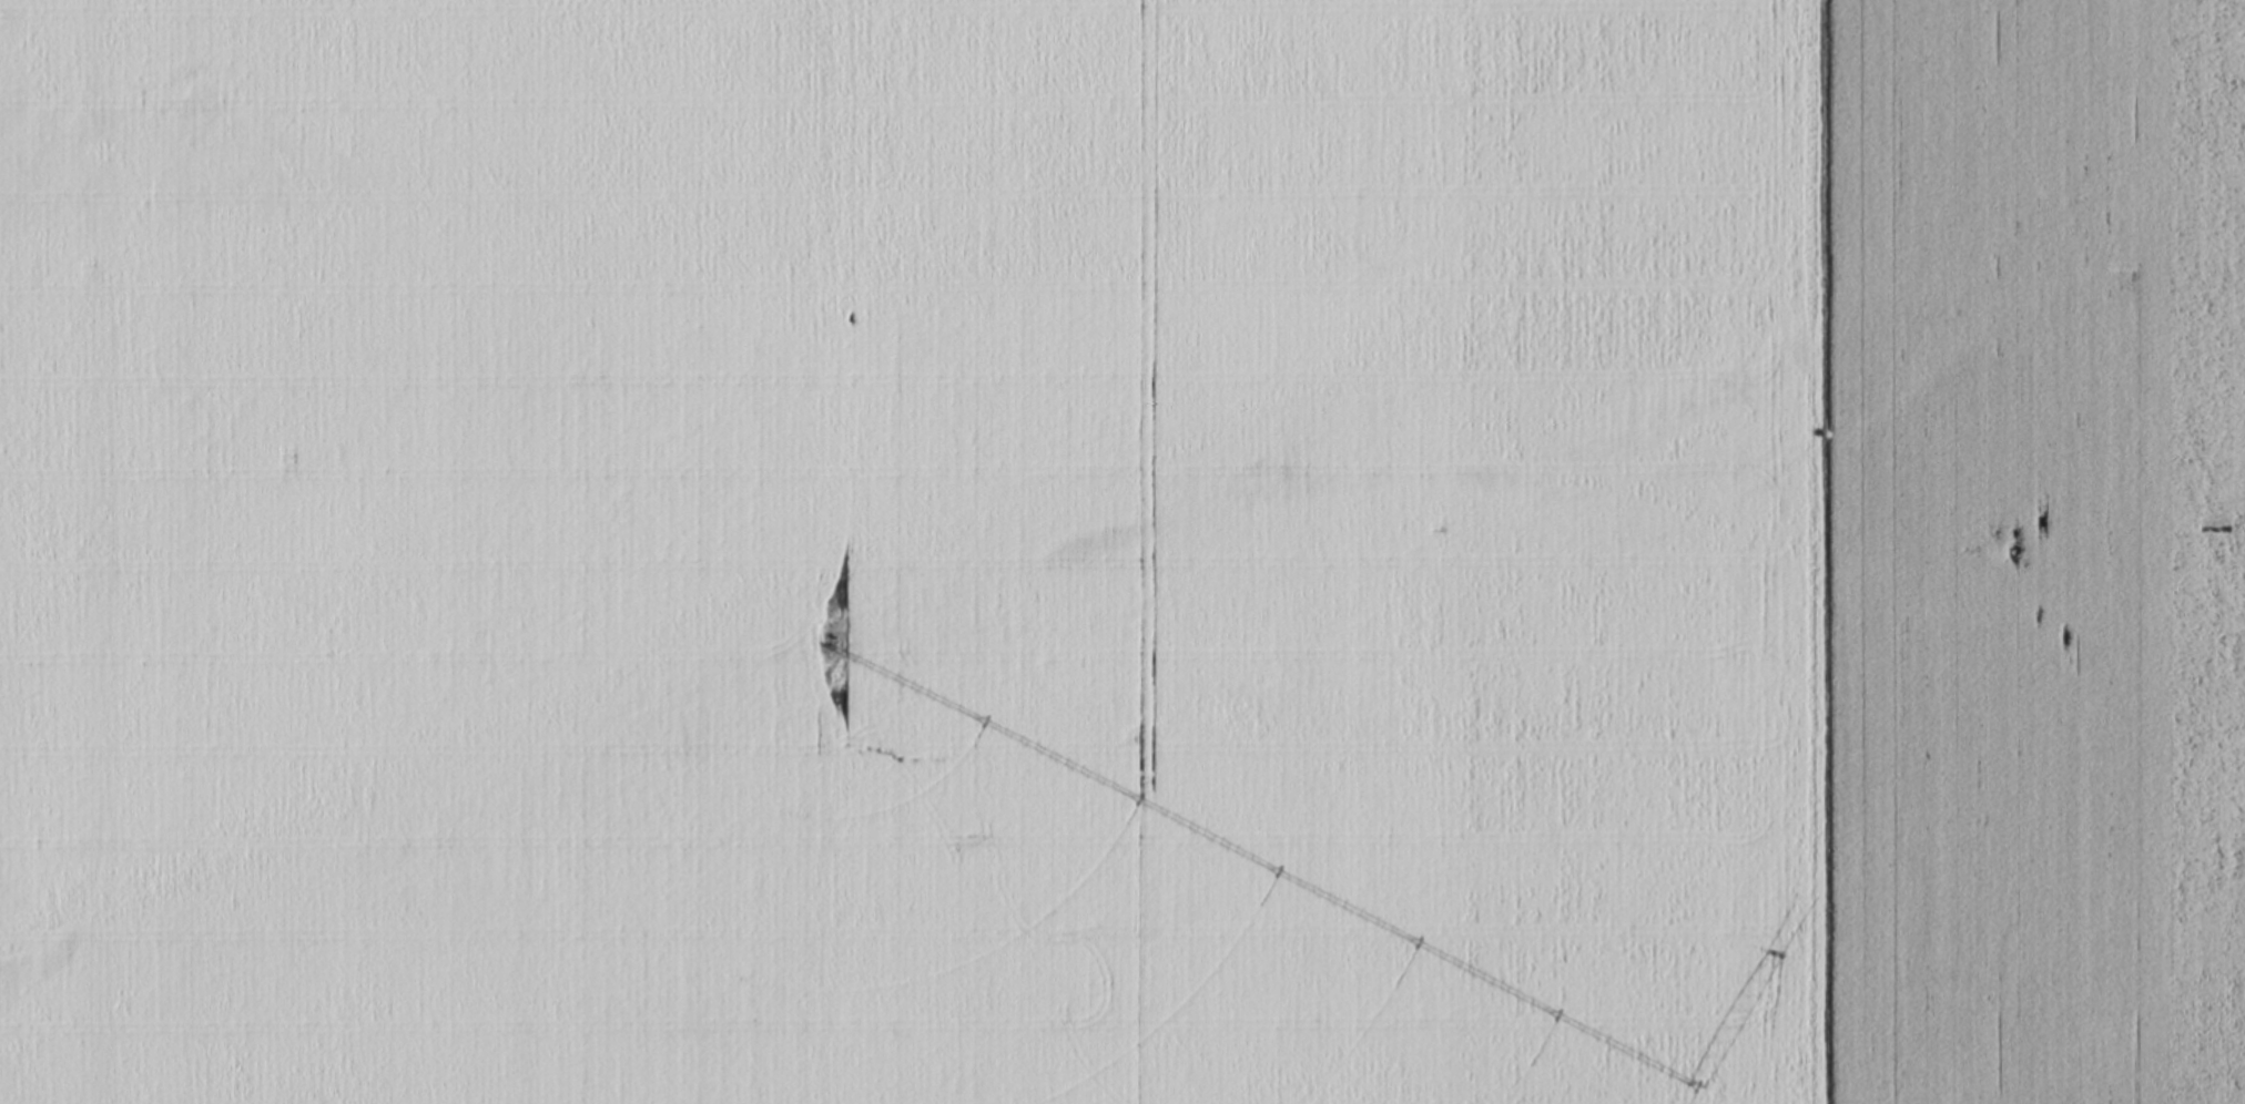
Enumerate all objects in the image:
crop: (908, 552)
crop: (2031, 552)

